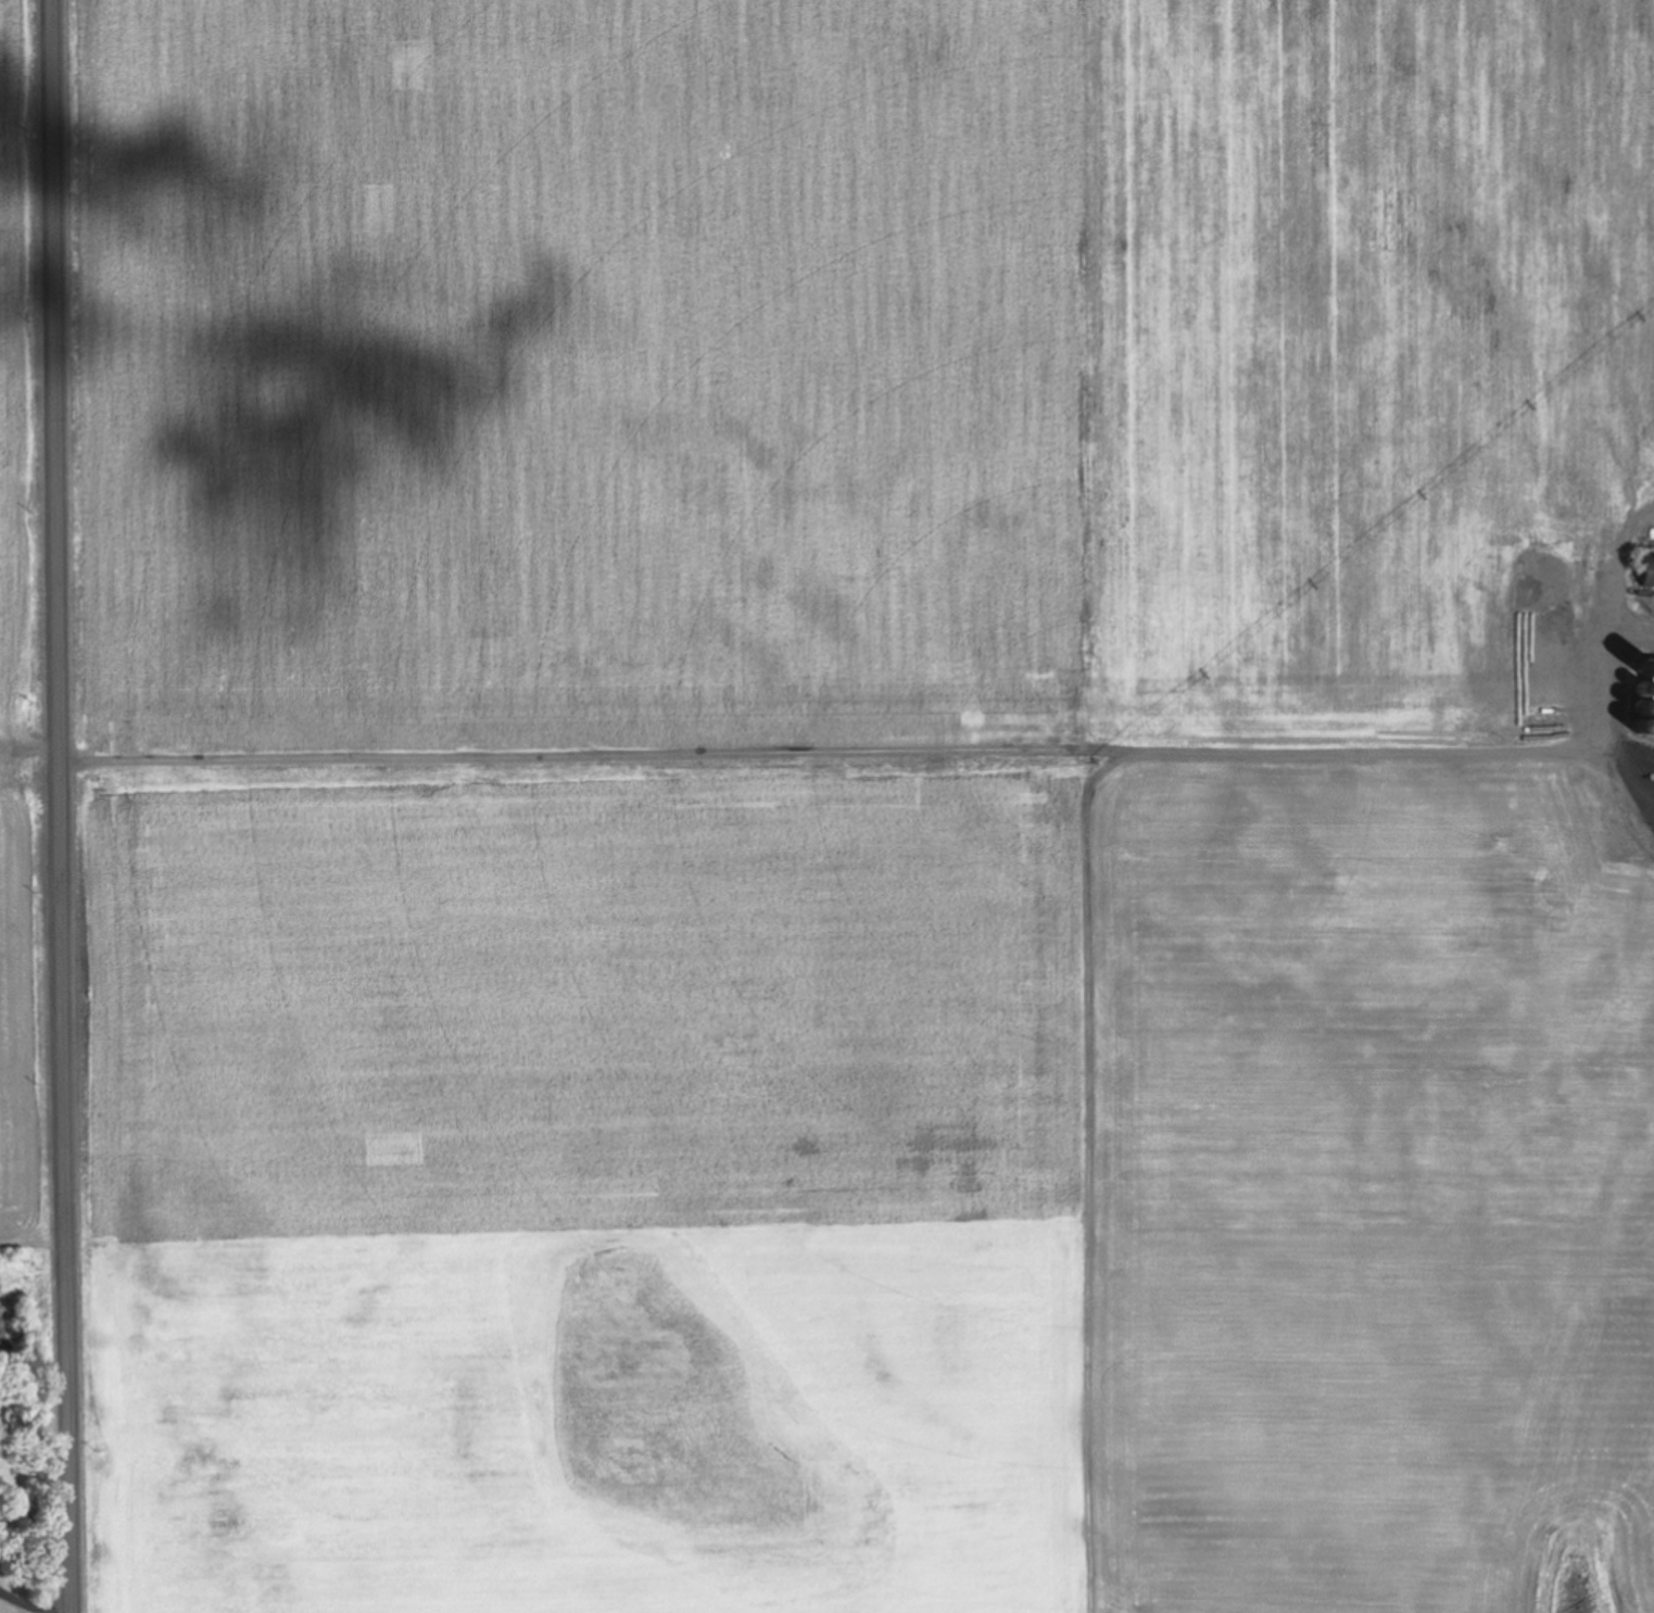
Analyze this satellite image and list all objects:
building: (1647, 568)
building: (1653, 691)
road: (62, 806)
road: (36, 1603)

